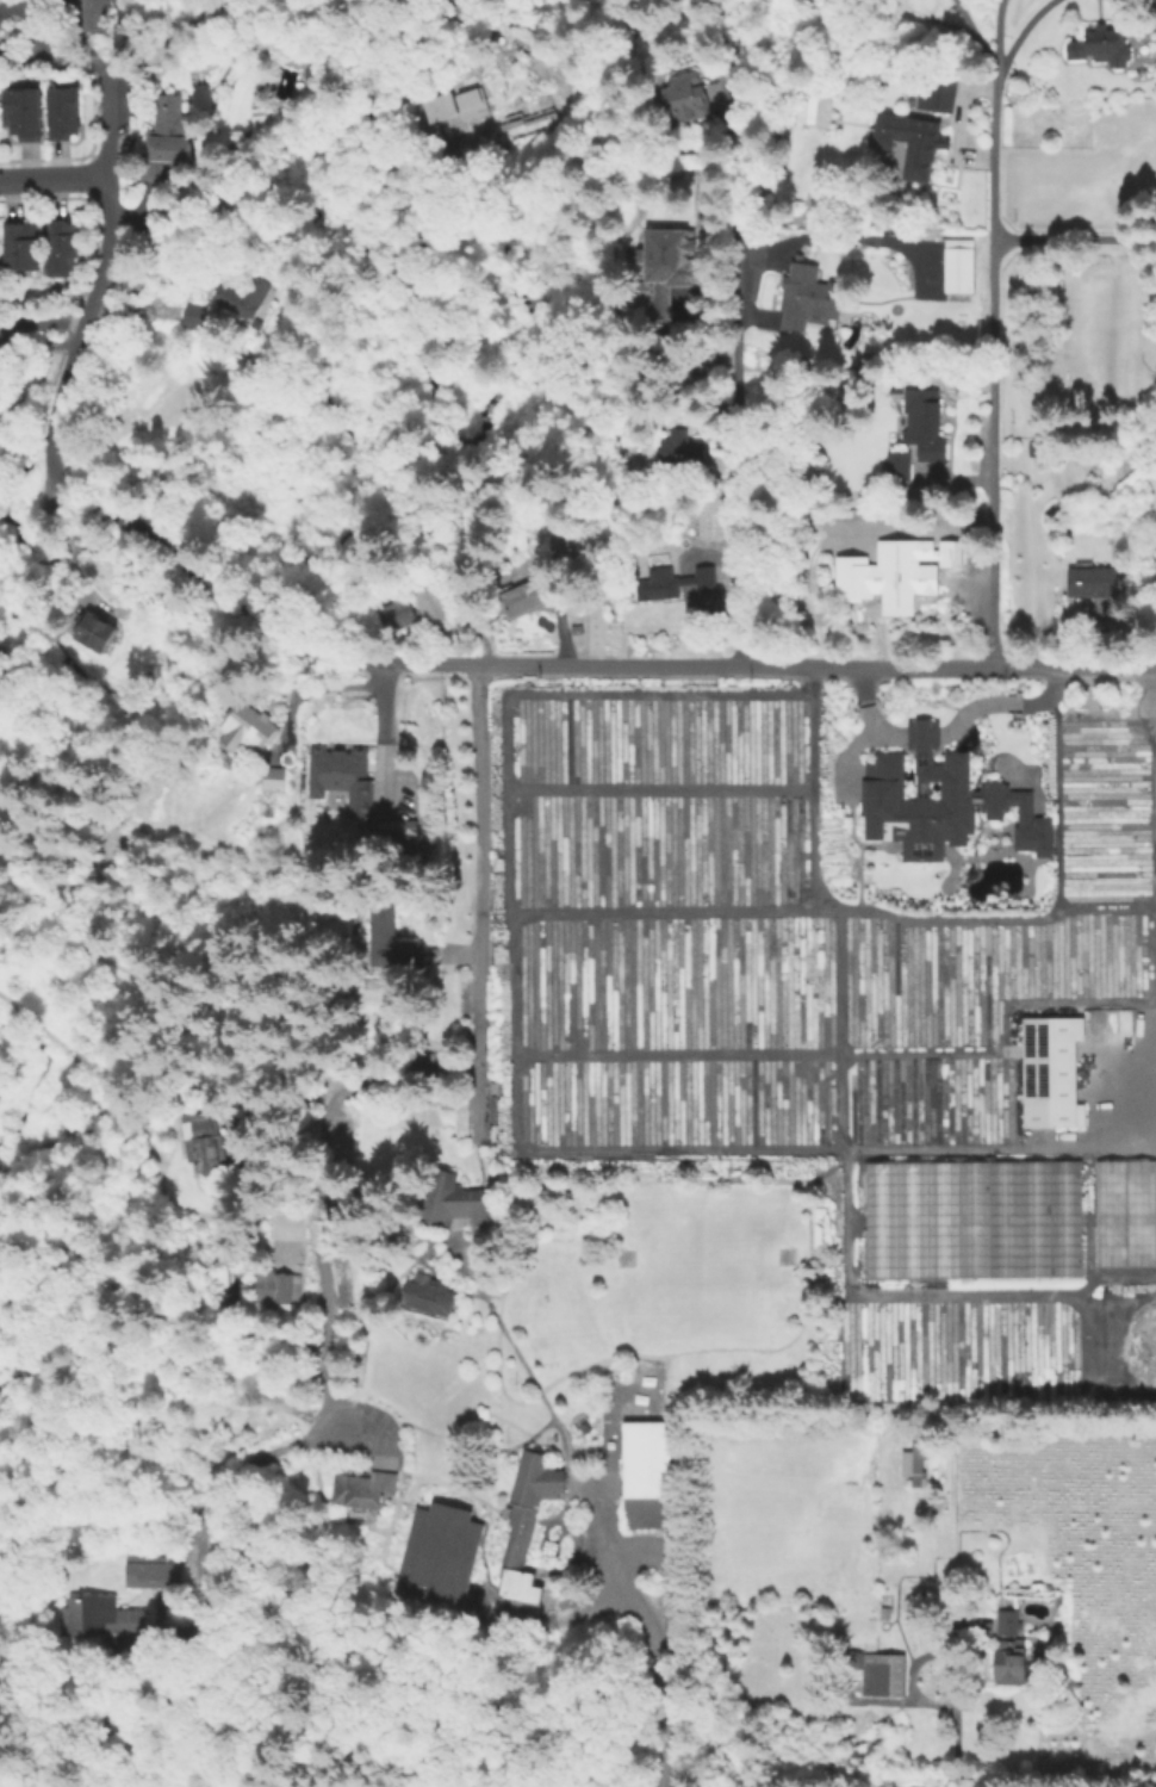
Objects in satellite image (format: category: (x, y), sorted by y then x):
building: (458, 5)
building: (102, 21)
road: (1019, 29)
road: (971, 30)
building: (1155, 33)
building: (1100, 44)
road: (42, 50)
building: (934, 92)
building: (688, 100)
building: (459, 104)
building: (27, 105)
building: (67, 110)
building: (524, 128)
building: (168, 137)
building: (912, 144)
road: (54, 175)
road: (110, 203)
road: (1073, 240)
building: (20, 242)
building: (67, 242)
building: (0, 256)
building: (675, 263)
building: (956, 265)
building: (798, 297)
building: (241, 298)
building: (193, 316)
road: (739, 331)
road: (992, 333)
building: (710, 353)
building: (926, 424)
building: (682, 449)
building: (900, 465)
building: (576, 540)
building: (955, 552)
building: (506, 578)
building: (706, 581)
building: (901, 581)
building: (1093, 582)
building: (659, 585)
building: (425, 589)
building: (526, 596)
building: (585, 609)
building: (398, 613)
building: (350, 615)
building: (95, 632)
road: (502, 659)
building: (249, 731)
building: (342, 776)
building: (271, 778)
road: (1056, 787)
building: (927, 806)
building: (386, 834)
road: (480, 894)
road: (874, 910)
building: (390, 941)
building: (433, 974)
building: (1052, 1073)
building: (200, 1140)
building: (450, 1199)
building: (1125, 1215)
building: (971, 1222)
building: (274, 1285)
building: (424, 1293)
building: (386, 1392)
building: (912, 1462)
building: (644, 1472)
building: (360, 1488)
building: (527, 1525)
building: (436, 1553)
building: (153, 1574)
building: (1046, 1589)
building: (884, 1613)
building: (102, 1617)
building: (1008, 1622)
road: (654, 1639)
building: (854, 1646)
building: (1015, 1664)
building: (878, 1673)
road: (953, 1725)

